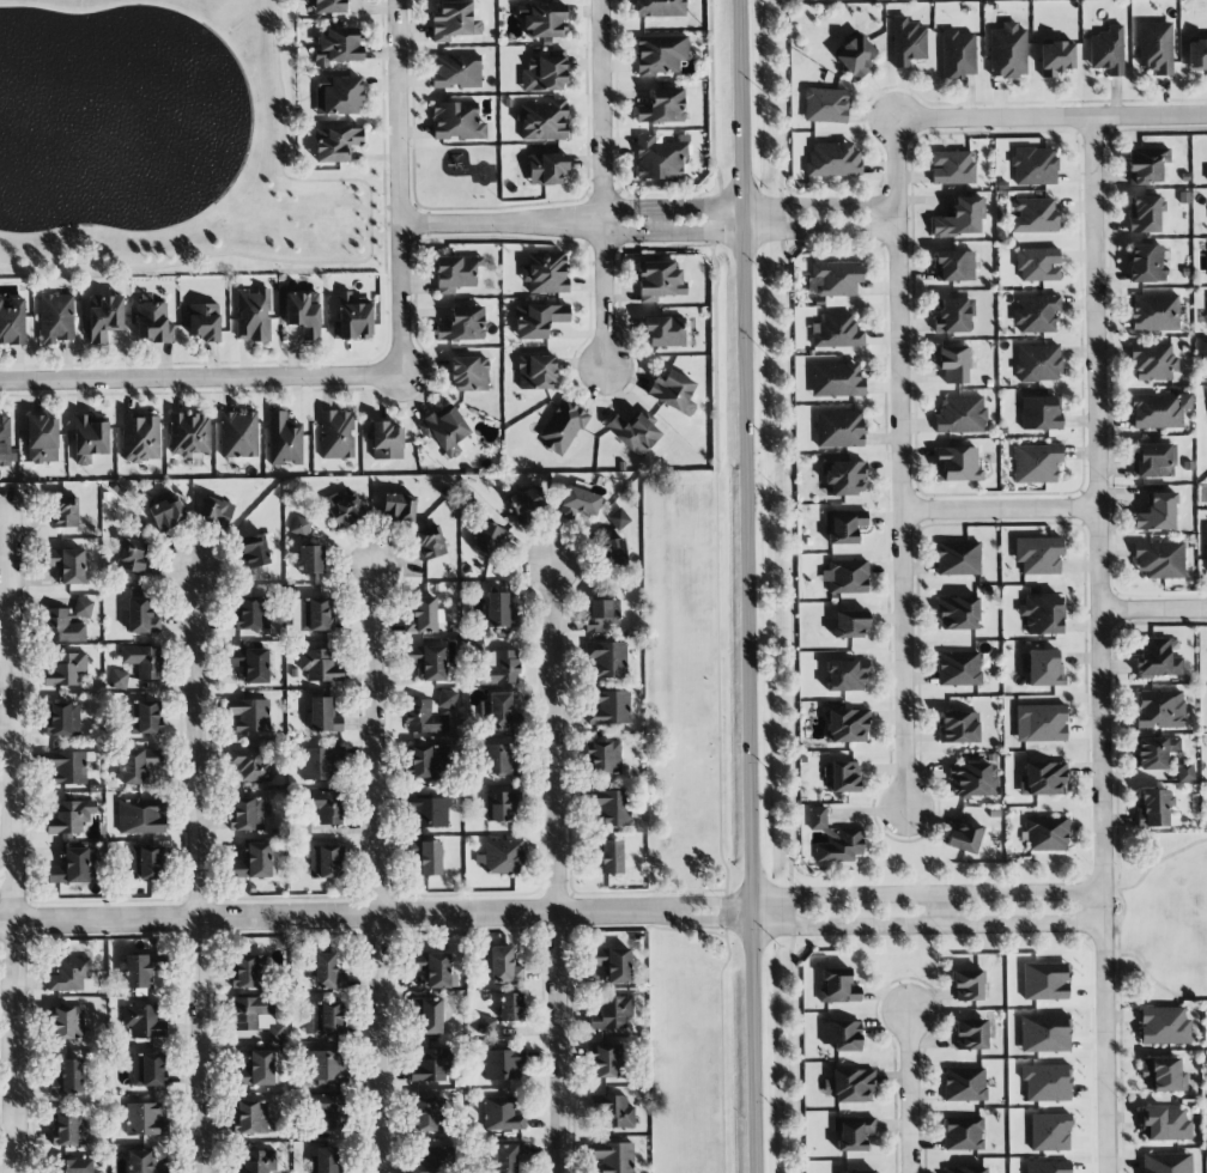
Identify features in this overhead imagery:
building: (328, 6)
building: (660, 8)
building: (542, 19)
building: (456, 20)
building: (908, 42)
building: (339, 45)
building: (1156, 47)
building: (1007, 51)
building: (1108, 51)
building: (660, 54)
building: (958, 54)
building: (855, 55)
building: (1196, 55)
building: (1055, 57)
building: (456, 71)
building: (545, 73)
building: (338, 96)
road: (586, 96)
building: (825, 105)
building: (662, 107)
fountain: (81, 110)
road: (614, 113)
road: (1051, 118)
building: (542, 120)
building: (457, 121)
building: (335, 144)
building: (660, 157)
building: (833, 159)
building: (1146, 164)
building: (1035, 166)
building: (547, 168)
building: (952, 168)
building: (1206, 171)
road: (600, 183)
road: (398, 187)
road: (413, 188)
road: (669, 202)
road: (625, 203)
road: (401, 207)
road: (768, 207)
road: (618, 211)
building: (1144, 213)
building: (1033, 215)
building: (960, 218)
road: (656, 221)
road: (499, 223)
road: (769, 229)
road: (619, 231)
road: (675, 244)
road: (348, 261)
building: (1146, 263)
building: (1037, 265)
building: (953, 266)
building: (455, 273)
building: (546, 273)
building: (837, 278)
building: (659, 280)
building: (1154, 312)
building: (303, 314)
building: (1036, 314)
building: (253, 315)
building: (952, 315)
building: (103, 317)
building: (55, 318)
building: (352, 320)
building: (538, 320)
building: (12, 321)
building: (151, 321)
building: (204, 322)
building: (462, 324)
building: (665, 332)
building: (836, 332)
building: (1202, 348)
road: (368, 358)
building: (951, 363)
building: (1038, 363)
building: (1153, 363)
building: (536, 372)
building: (469, 373)
road: (200, 377)
building: (836, 379)
building: (673, 391)
road: (586, 394)
road: (378, 397)
building: (1159, 411)
building: (1041, 413)
building: (962, 415)
building: (562, 427)
building: (839, 429)
building: (444, 430)
building: (238, 433)
building: (635, 433)
building: (188, 434)
building: (336, 434)
building: (90, 438)
building: (140, 438)
building: (42, 439)
building: (284, 439)
building: (5, 440)
building: (386, 440)
building: (1153, 461)
building: (1036, 463)
road: (900, 464)
building: (957, 464)
building: (844, 478)
building: (526, 503)
building: (578, 503)
building: (399, 506)
building: (344, 509)
road: (1000, 510)
building: (63, 511)
building: (216, 511)
building: (1157, 512)
building: (166, 513)
building: (617, 518)
building: (843, 525)
building: (299, 527)
building: (486, 539)
building: (429, 543)
building: (1206, 547)
building: (254, 551)
building: (614, 551)
building: (132, 555)
building: (1038, 555)
building: (958, 558)
building: (310, 559)
building: (1159, 559)
building: (68, 565)
building: (848, 577)
road: (716, 585)
road: (750, 585)
road: (1153, 608)
building: (497, 610)
building: (958, 613)
building: (250, 614)
building: (314, 614)
building: (424, 614)
building: (601, 614)
building: (1042, 615)
building: (141, 616)
building: (68, 622)
building: (850, 625)
road: (1099, 645)
building: (1158, 658)
building: (608, 660)
building: (142, 661)
building: (427, 661)
building: (319, 663)
building: (250, 664)
building: (503, 668)
building: (1042, 668)
building: (65, 669)
building: (959, 669)
building: (845, 675)
building: (119, 680)
building: (447, 699)
building: (611, 709)
building: (1160, 710)
building: (499, 711)
building: (250, 715)
building: (319, 715)
building: (147, 717)
building: (423, 718)
building: (62, 719)
building: (1041, 723)
building: (847, 725)
building: (959, 728)
building: (1156, 752)
building: (605, 756)
building: (501, 759)
building: (429, 761)
building: (322, 762)
building: (251, 764)
building: (138, 765)
building: (68, 767)
building: (1184, 772)
building: (843, 777)
building: (1042, 779)
building: (972, 780)
building: (326, 806)
building: (502, 806)
building: (611, 808)
building: (1153, 808)
building: (429, 813)
building: (247, 814)
building: (141, 816)
building: (68, 819)
building: (1045, 833)
building: (964, 835)
road: (8, 845)
building: (427, 857)
building: (502, 857)
building: (611, 857)
building: (144, 862)
building: (255, 862)
building: (325, 862)
road: (1151, 864)
building: (74, 867)
road: (553, 870)
road: (376, 873)
road: (196, 874)
road: (929, 894)
road: (702, 902)
road: (934, 908)
road: (325, 917)
road: (702, 920)
road: (929, 923)
building: (615, 965)
building: (504, 966)
building: (432, 968)
building: (248, 972)
building: (327, 972)
building: (69, 973)
building: (137, 973)
road: (1151, 979)
building: (1045, 980)
building: (968, 985)
building: (838, 986)
building: (509, 1007)
building: (614, 1011)
building: (257, 1016)
building: (429, 1016)
building: (323, 1017)
building: (144, 1021)
building: (67, 1022)
building: (485, 1025)
building: (1164, 1026)
building: (1044, 1033)
building: (970, 1034)
building: (842, 1035)
building: (607, 1060)
building: (503, 1064)
building: (328, 1066)
building: (429, 1066)
building: (147, 1069)
building: (261, 1069)
building: (1164, 1074)
building: (68, 1077)
building: (1047, 1082)
building: (964, 1084)
building: (850, 1086)
road: (909, 1093)
building: (329, 1110)
building: (612, 1112)
building: (424, 1114)
building: (501, 1114)
building: (254, 1117)
building: (144, 1120)
building: (1165, 1124)
building: (68, 1129)
building: (853, 1132)
building: (1049, 1132)
building: (964, 1134)
building: (613, 1156)
building: (509, 1157)
building: (325, 1160)
building: (433, 1160)
building: (141, 1162)
building: (256, 1162)
building: (1166, 1163)
building: (72, 1166)
building: (1048, 1167)
building: (966, 1169)
building: (857, 1171)

